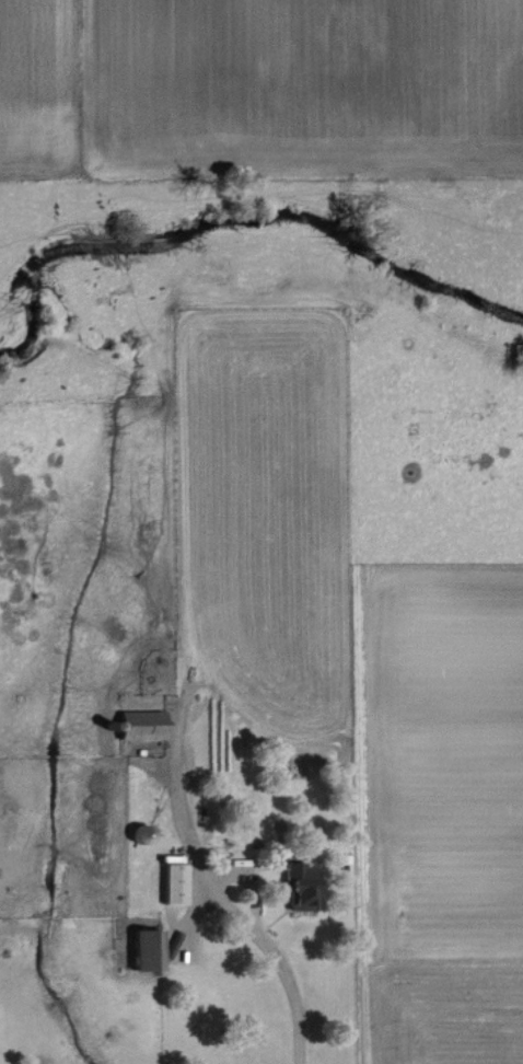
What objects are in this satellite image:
building: (133, 725)
building: (290, 886)
building: (139, 950)
road: (281, 962)

